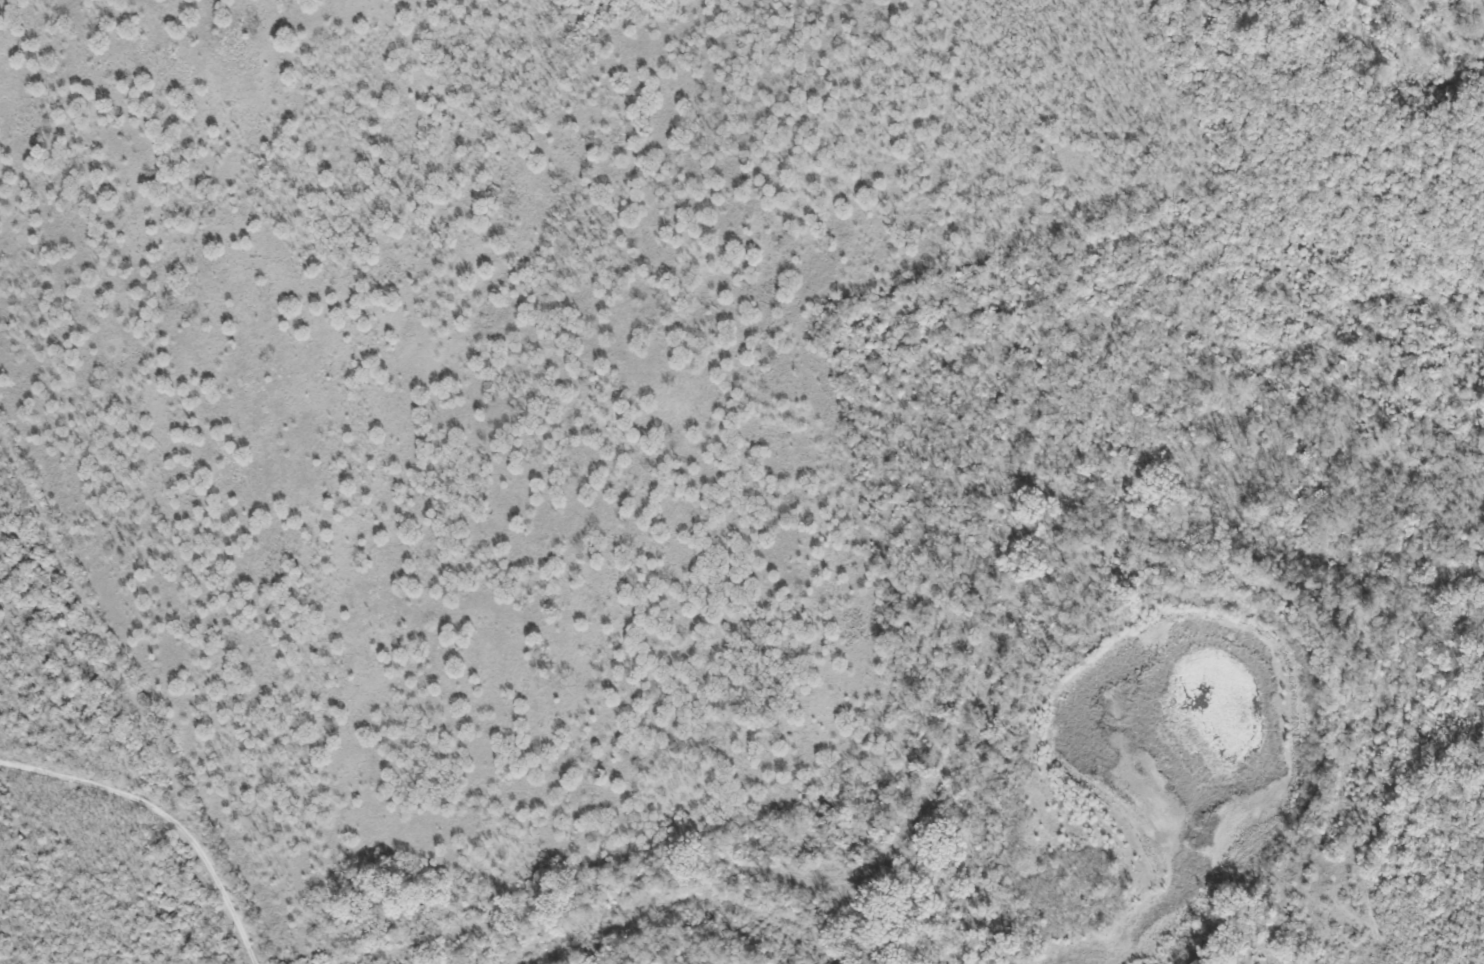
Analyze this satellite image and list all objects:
road: (954, 718)
road: (151, 810)
road: (249, 950)

